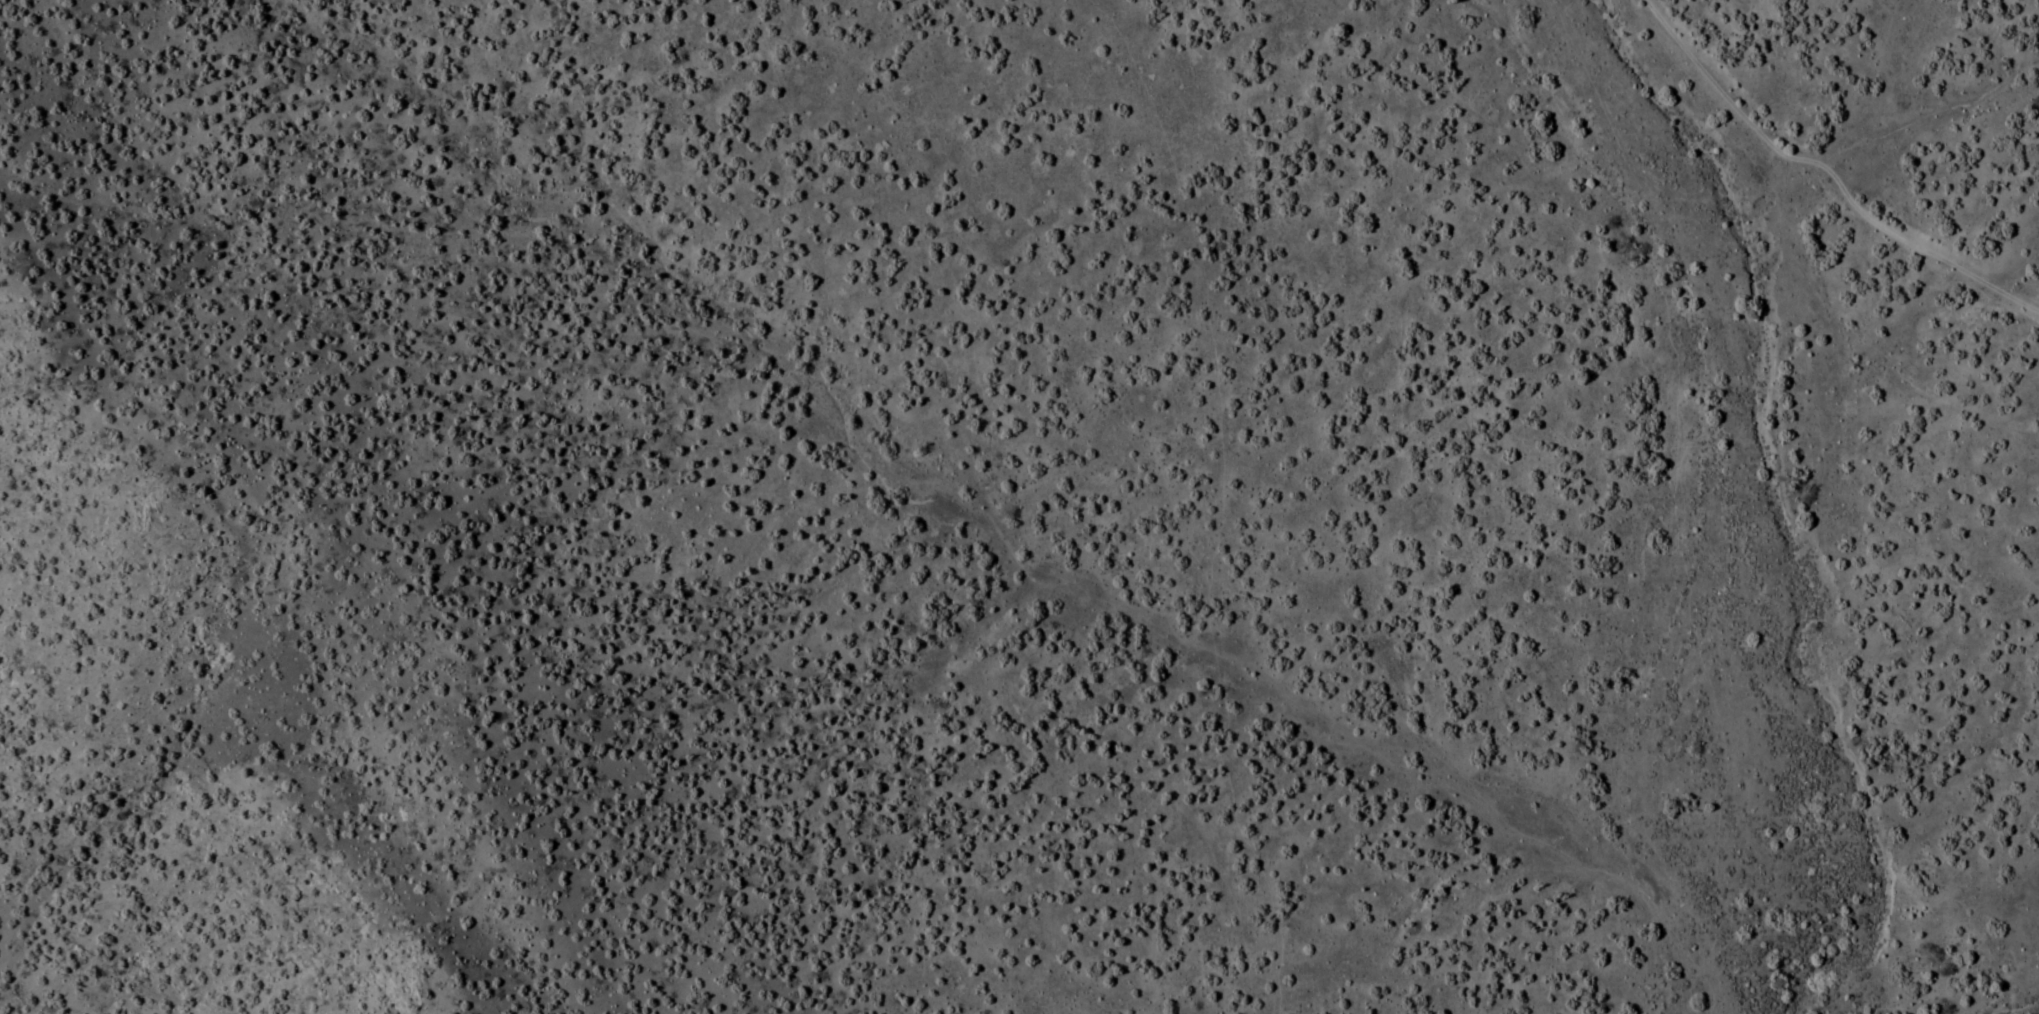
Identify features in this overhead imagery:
road: (1810, 189)

